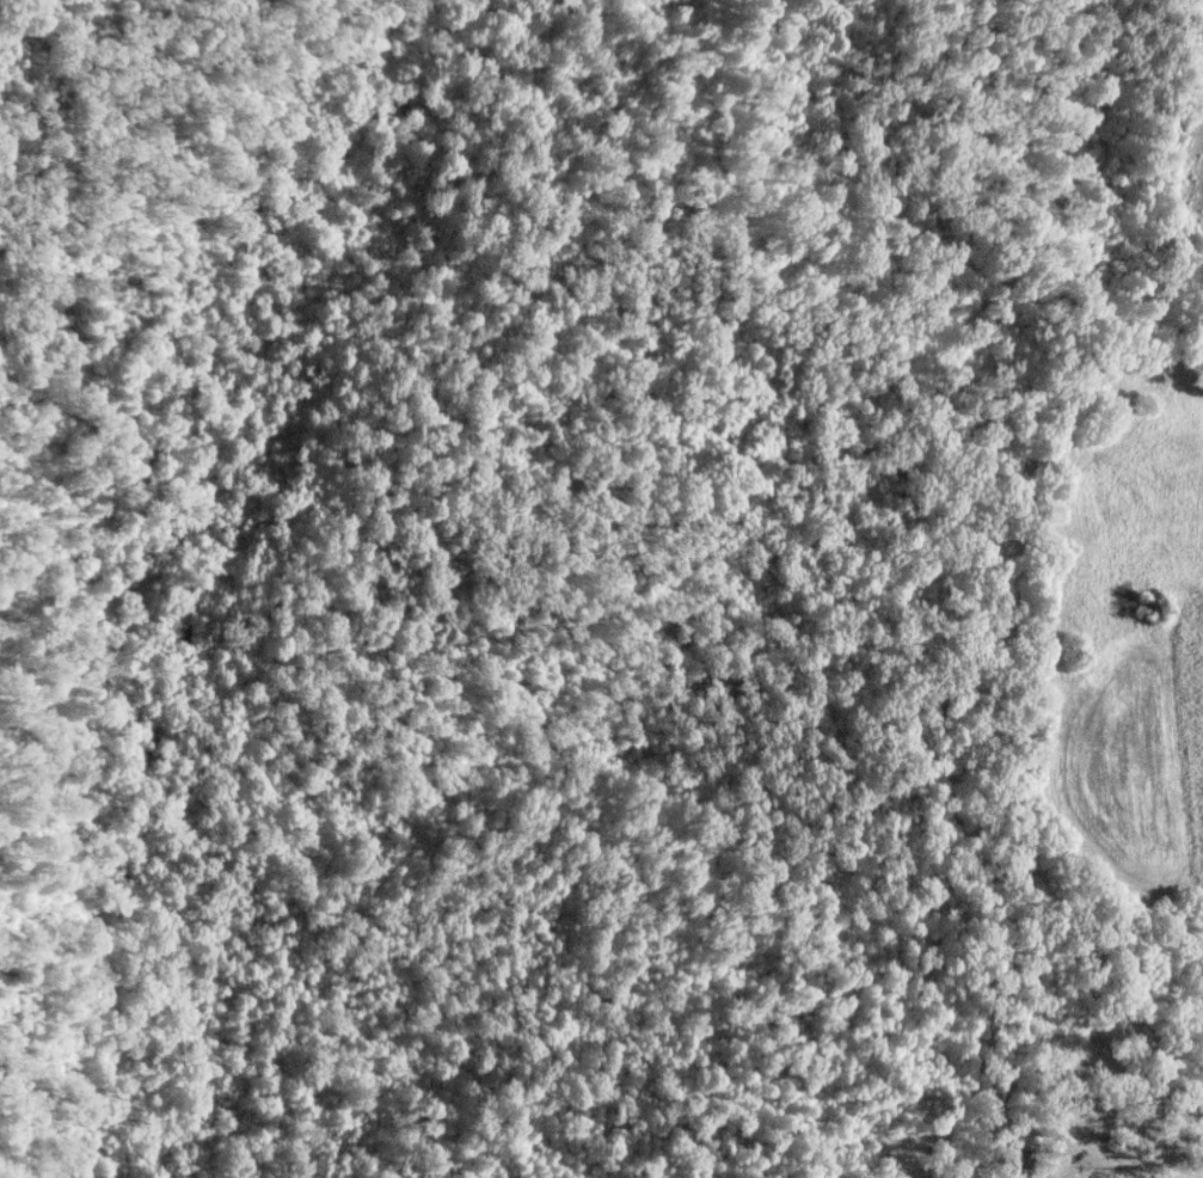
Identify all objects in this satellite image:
road: (1196, 1177)

